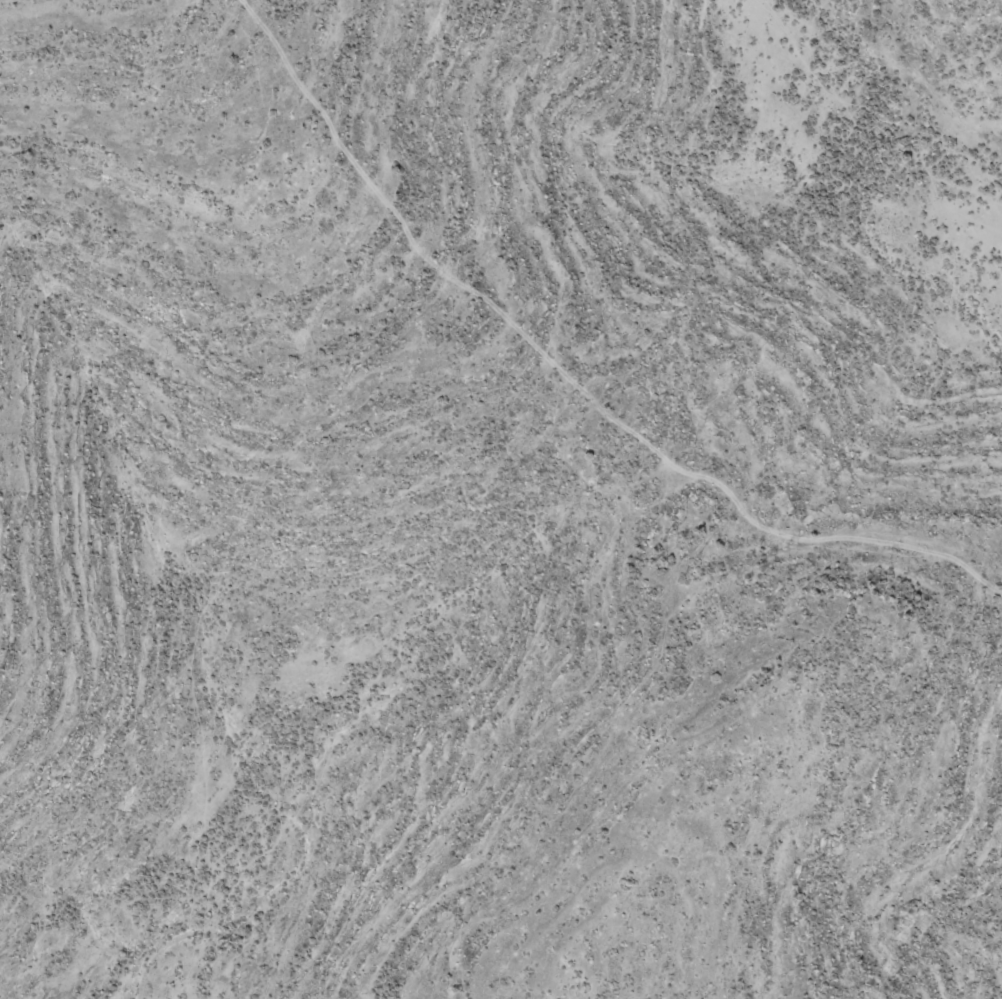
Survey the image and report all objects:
road: (573, 376)

